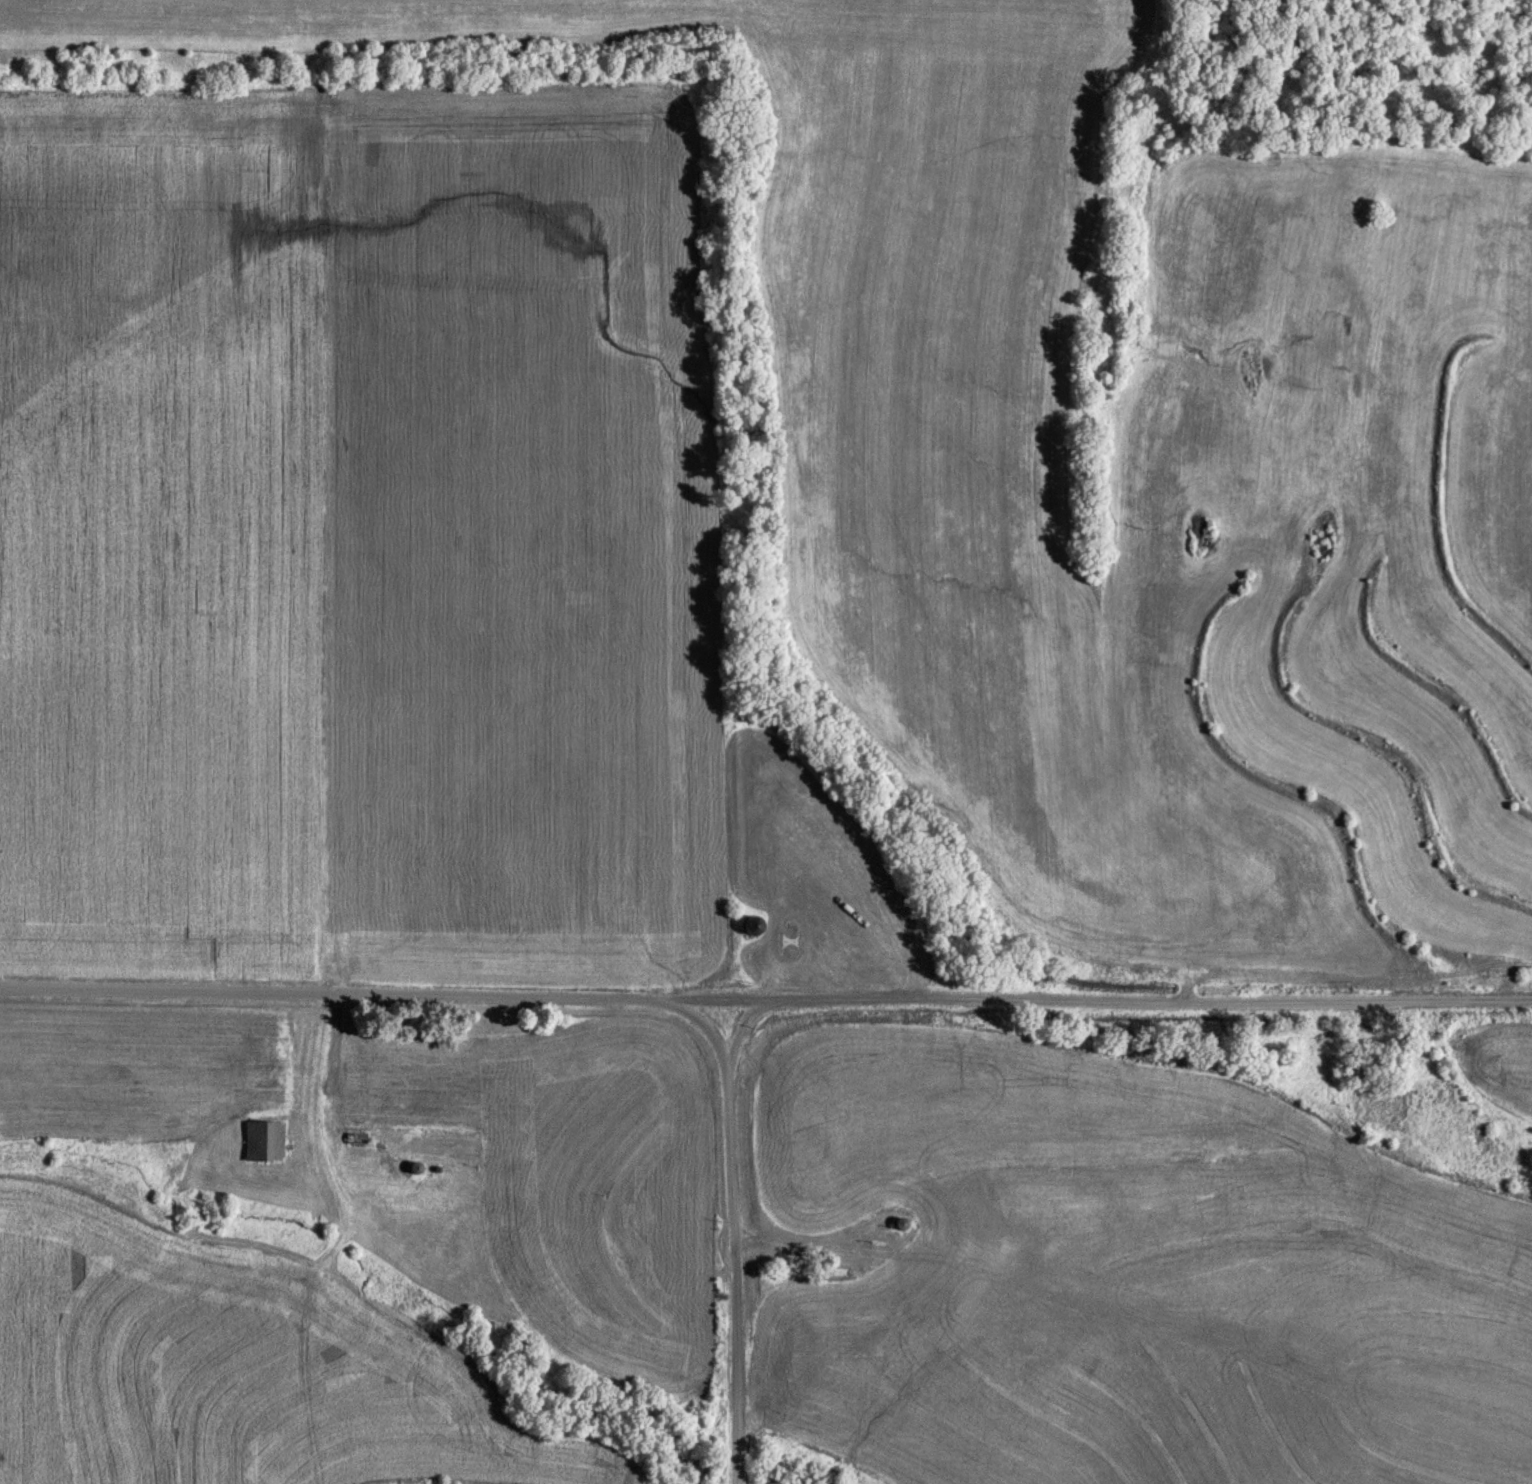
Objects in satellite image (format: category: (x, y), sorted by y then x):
building: (753, 925)
road: (328, 994)
road: (1094, 1000)
road: (736, 1026)
building: (264, 1140)
road: (728, 1223)
building: (900, 1223)

